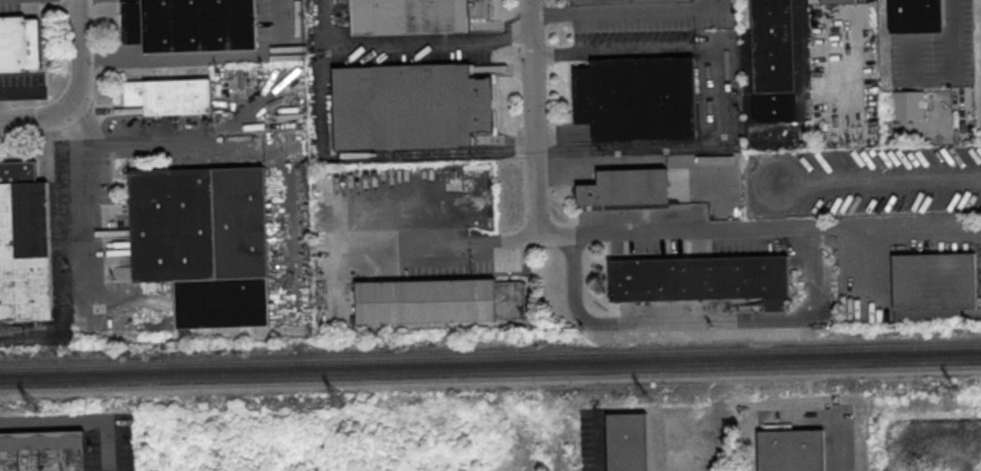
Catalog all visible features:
building: (619, 1)
building: (837, 1)
road: (626, 11)
building: (414, 15)
building: (915, 15)
road: (861, 21)
building: (190, 25)
road: (958, 32)
road: (431, 41)
building: (19, 43)
road: (79, 55)
road: (201, 56)
building: (774, 63)
road: (5, 92)
building: (169, 95)
road: (722, 96)
building: (637, 98)
building: (907, 104)
building: (410, 106)
road: (35, 121)
road: (533, 123)
road: (354, 154)
road: (85, 186)
building: (625, 187)
road: (896, 226)
road: (438, 240)
building: (204, 242)
building: (24, 244)
building: (701, 279)
building: (934, 281)
road: (813, 296)
building: (439, 303)
railway: (490, 356)
railway: (490, 367)
railway: (490, 377)
power tower: (956, 388)
power tower: (645, 394)
power tower: (341, 398)
power tower: (35, 410)
road: (74, 423)
building: (626, 442)
building: (790, 450)
building: (43, 451)
parking lot: (838, 451)

